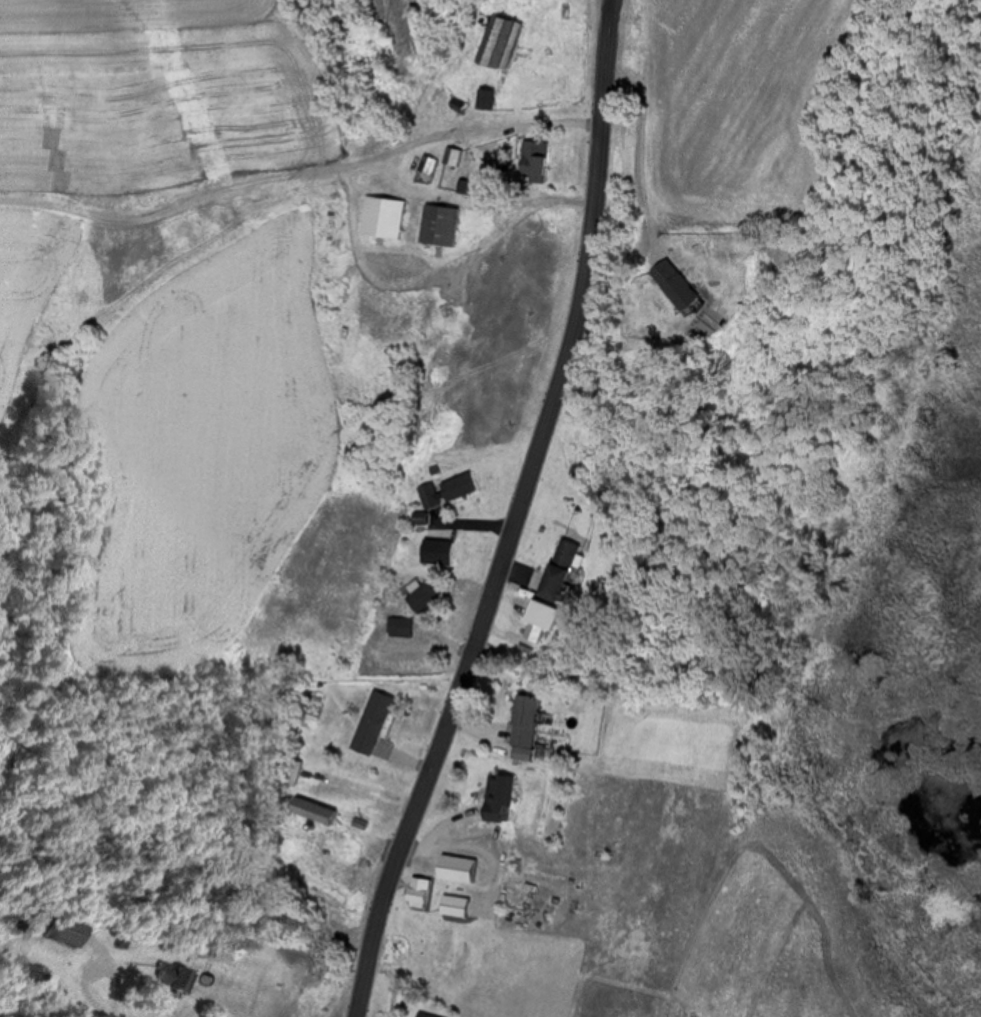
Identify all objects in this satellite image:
building: (499, 37)
building: (484, 97)
road: (461, 135)
building: (449, 154)
building: (535, 162)
building: (440, 223)
building: (394, 257)
building: (447, 490)
road: (511, 515)
building: (567, 568)
building: (425, 596)
building: (400, 626)
building: (530, 720)
building: (372, 721)
building: (290, 770)
building: (503, 797)
building: (319, 811)
road: (462, 839)
building: (462, 868)
building: (424, 891)
building: (459, 906)
building: (63, 928)
building: (178, 979)
building: (425, 1014)

